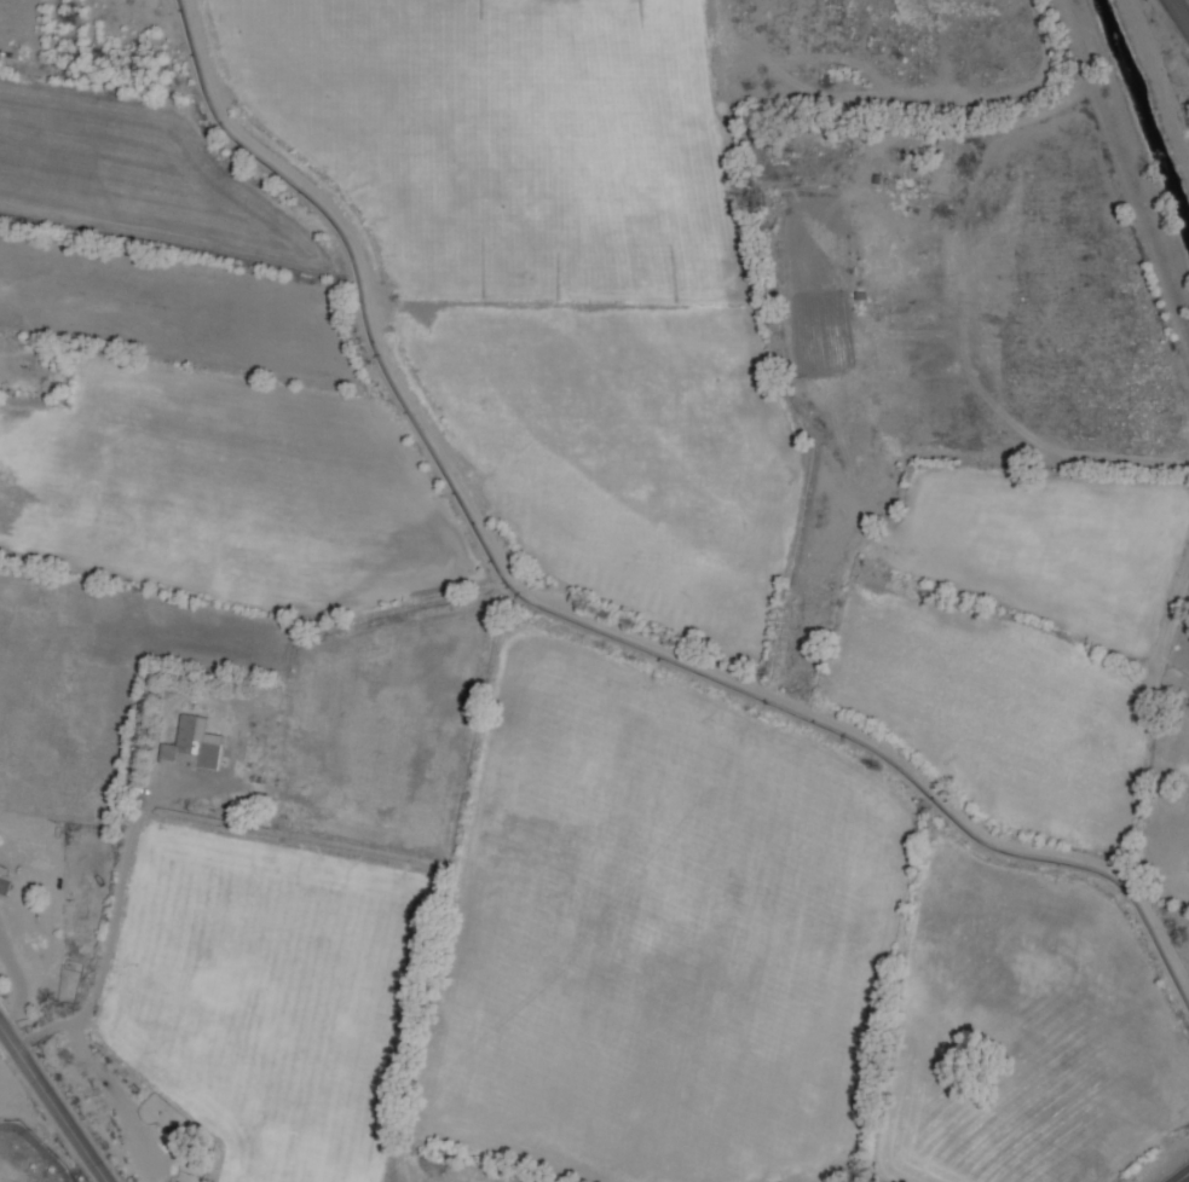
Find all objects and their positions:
road: (1182, 10)
building: (879, 255)
building: (194, 743)
building: (4, 869)
road: (52, 1102)
road: (1181, 1175)

